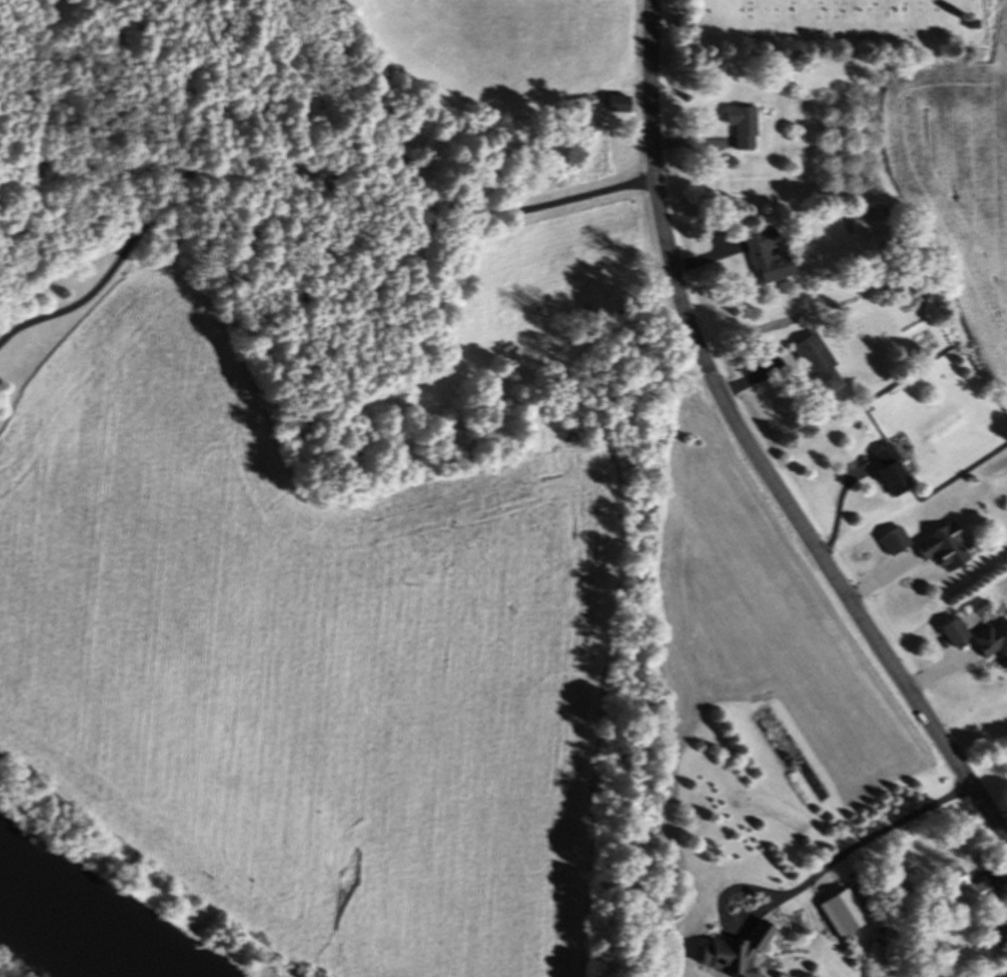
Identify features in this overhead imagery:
building: (618, 107)
building: (742, 129)
road: (295, 183)
building: (768, 260)
building: (816, 366)
road: (748, 449)
building: (889, 474)
building: (944, 550)
building: (954, 634)
building: (993, 646)
building: (955, 882)
road: (804, 889)
building: (981, 895)
river: (76, 921)
building: (998, 930)
building: (732, 955)
road: (992, 967)

